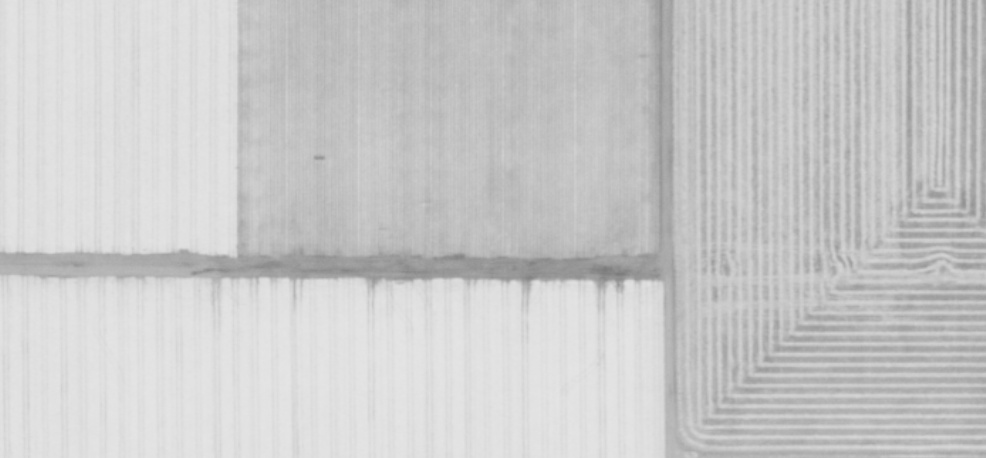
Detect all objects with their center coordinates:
crop: (493, 229)

